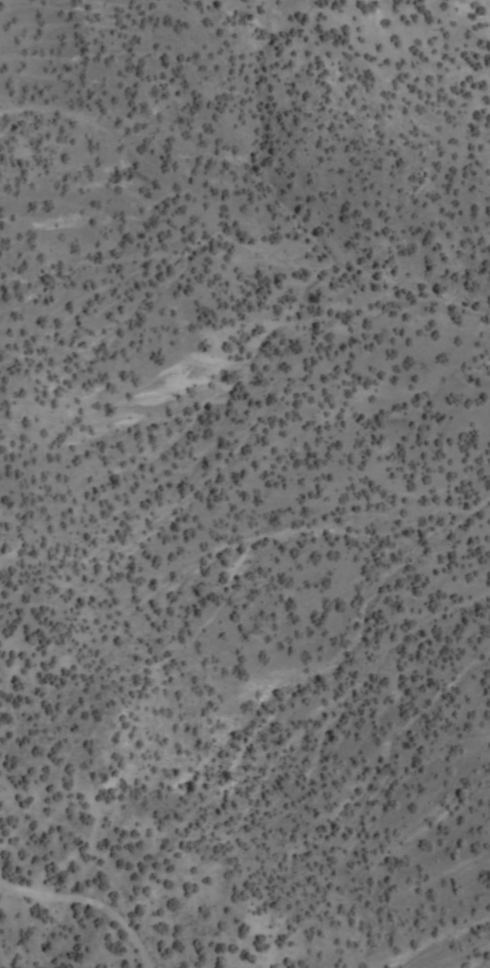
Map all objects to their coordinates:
road: (30, 933)

